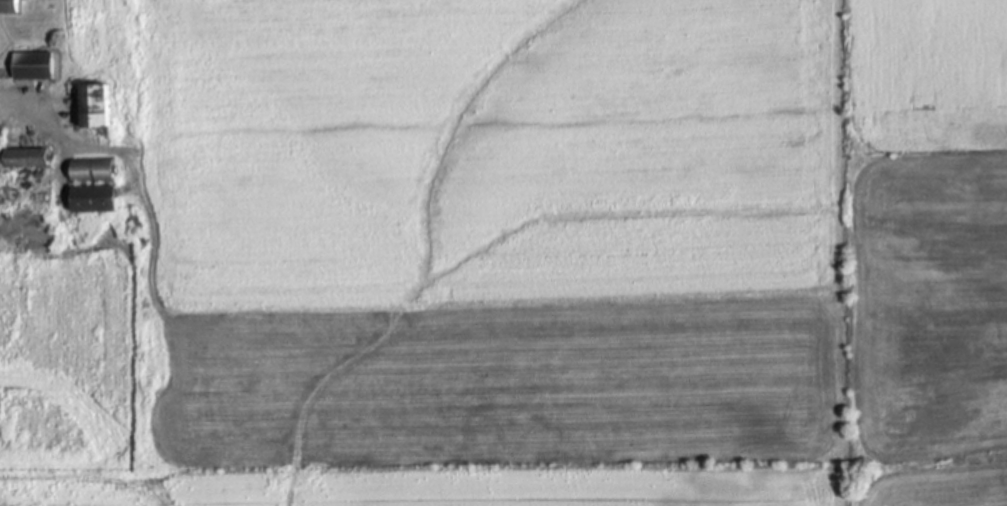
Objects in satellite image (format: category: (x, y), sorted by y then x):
building: (9, 6)
building: (35, 65)
building: (98, 106)
building: (120, 134)
road: (57, 135)
building: (29, 158)
building: (93, 170)
building: (2, 173)
building: (97, 199)

